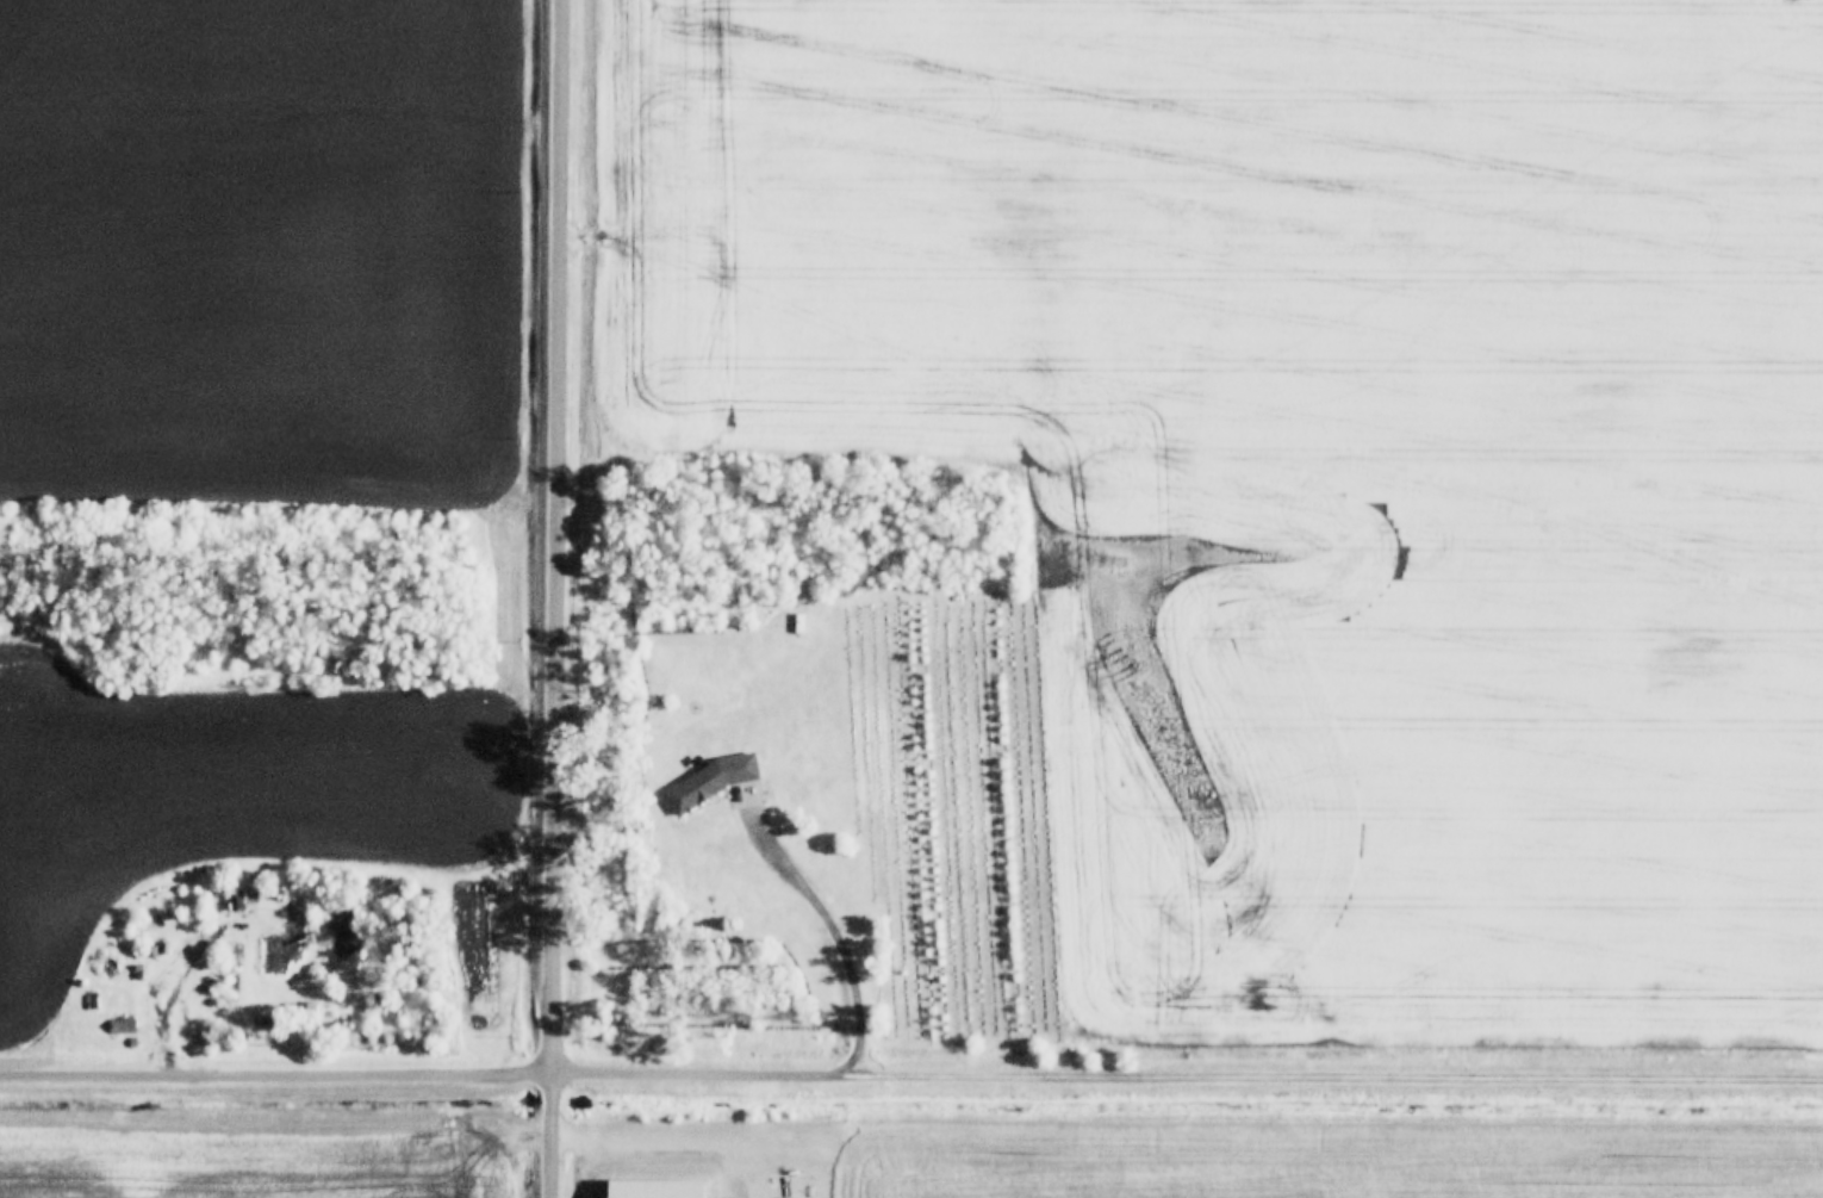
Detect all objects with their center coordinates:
road: (555, 598)
building: (708, 778)
road: (840, 933)
road: (275, 1067)
road: (699, 1067)
road: (1334, 1075)

